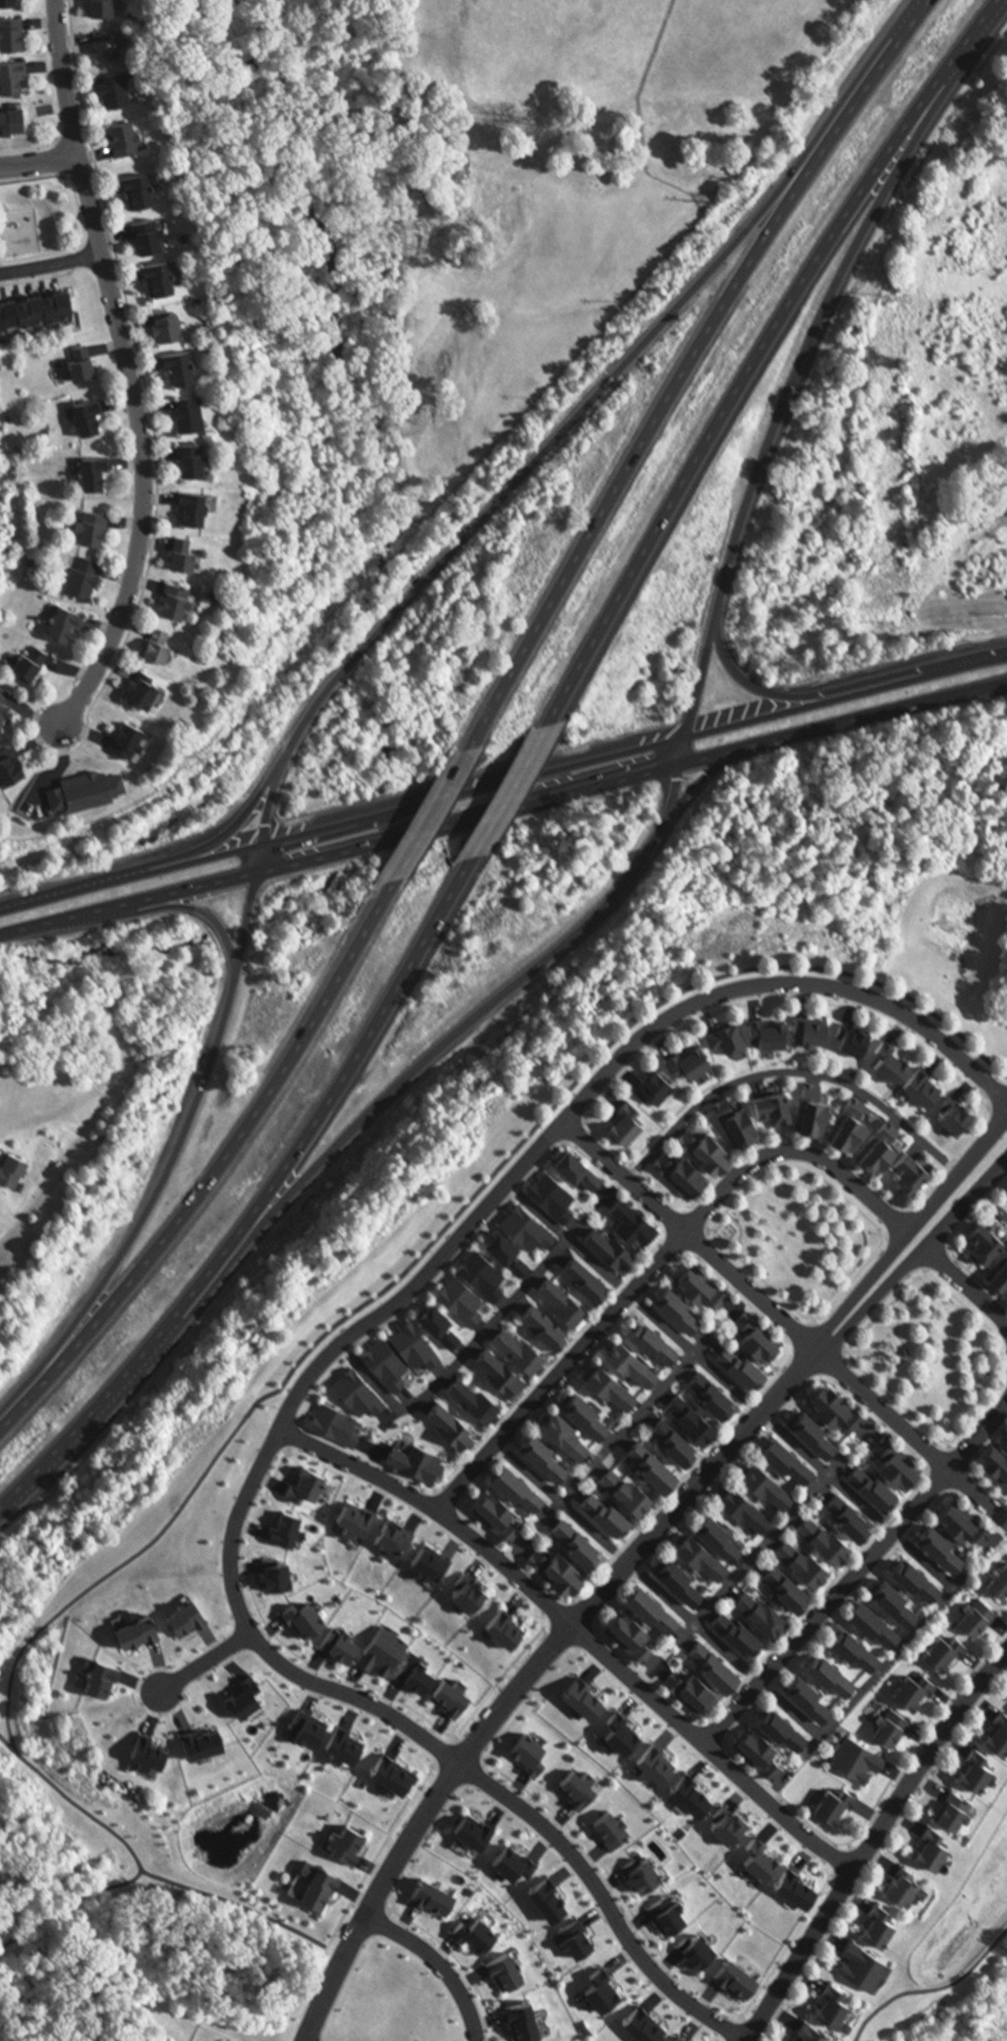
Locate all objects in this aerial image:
building: (14, 3)
building: (111, 8)
building: (17, 35)
building: (116, 46)
building: (18, 78)
building: (122, 91)
building: (16, 121)
building: (131, 140)
road: (39, 161)
building: (146, 192)
building: (155, 238)
road: (50, 264)
building: (166, 280)
building: (35, 305)
building: (175, 326)
road: (757, 351)
building: (88, 363)
road: (684, 363)
road: (126, 366)
building: (187, 368)
road: (778, 410)
building: (196, 416)
building: (96, 419)
building: (200, 462)
building: (103, 475)
building: (202, 509)
building: (99, 531)
building: (192, 557)
building: (88, 578)
building: (183, 602)
building: (71, 625)
building: (165, 648)
building: (37, 664)
road: (348, 666)
road: (765, 688)
building: (150, 693)
building: (6, 707)
building: (134, 742)
building: (15, 768)
road: (502, 782)
road: (701, 784)
road: (509, 791)
road: (503, 810)
road: (434, 812)
road: (238, 824)
road: (206, 913)
building: (810, 1024)
building: (769, 1027)
building: (729, 1031)
building: (824, 1033)
building: (851, 1033)
building: (865, 1041)
building: (690, 1055)
building: (888, 1059)
building: (701, 1065)
road: (418, 1066)
road: (790, 1071)
road: (1006, 1076)
road: (1006, 1077)
building: (656, 1079)
road: (598, 1081)
building: (922, 1083)
building: (774, 1101)
building: (811, 1106)
building: (953, 1112)
building: (736, 1117)
building: (628, 1118)
building: (846, 1119)
building: (860, 1127)
building: (707, 1144)
building: (878, 1146)
road: (218, 1166)
building: (578, 1166)
building: (681, 1167)
building: (910, 1167)
building: (17, 1172)
building: (552, 1193)
road: (261, 1202)
road: (996, 1202)
building: (632, 1220)
building: (528, 1224)
road: (741, 1230)
road: (909, 1231)
park: (800, 1236)
road: (571, 1238)
building: (984, 1238)
building: (610, 1246)
building: (507, 1248)
road: (914, 1263)
road: (656, 1264)
building: (482, 1271)
building: (998, 1271)
building: (586, 1276)
building: (701, 1281)
road: (969, 1284)
building: (461, 1297)
building: (561, 1297)
building: (677, 1303)
building: (437, 1320)
road: (813, 1321)
road: (786, 1322)
building: (546, 1325)
road: (890, 1325)
building: (757, 1333)
road: (830, 1336)
building: (653, 1337)
road: (901, 1339)
road: (314, 1342)
building: (413, 1343)
building: (520, 1347)
building: (903, 1347)
road: (873, 1350)
road: (696, 1355)
building: (632, 1357)
road: (459, 1358)
park: (929, 1358)
building: (385, 1361)
building: (742, 1363)
road: (972, 1364)
road: (893, 1369)
building: (499, 1371)
building: (610, 1382)
building: (357, 1390)
building: (711, 1391)
building: (472, 1398)
building: (835, 1404)
building: (585, 1411)
building: (691, 1415)
building: (333, 1422)
building: (449, 1422)
road: (630, 1429)
building: (812, 1429)
building: (564, 1430)
building: (1006, 1430)
road: (939, 1438)
building: (675, 1439)
building: (543, 1452)
building: (785, 1456)
building: (997, 1456)
building: (415, 1459)
building: (894, 1459)
building: (653, 1462)
road: (827, 1474)
building: (766, 1480)
building: (304, 1482)
building: (516, 1484)
building: (871, 1485)
building: (627, 1488)
road: (565, 1503)
building: (744, 1504)
building: (494, 1510)
building: (606, 1511)
building: (355, 1516)
building: (848, 1516)
building: (961, 1519)
building: (286, 1523)
building: (393, 1532)
building: (717, 1534)
building: (824, 1537)
road: (469, 1539)
building: (577, 1539)
building: (942, 1545)
road: (760, 1547)
building: (701, 1552)
building: (430, 1558)
building: (801, 1560)
road: (922, 1561)
building: (557, 1564)
building: (275, 1569)
building: (678, 1576)
building: (913, 1576)
road: (855, 1577)
building: (998, 1579)
building: (788, 1585)
building: (467, 1589)
building: (895, 1598)
building: (650, 1603)
building: (761, 1610)
building: (186, 1613)
building: (303, 1613)
building: (974, 1613)
building: (872, 1618)
road: (696, 1623)
building: (138, 1625)
building: (504, 1625)
building: (629, 1628)
building: (736, 1631)
road: (915, 1631)
building: (338, 1641)
building: (853, 1644)
building: (380, 1650)
building: (944, 1650)
building: (714, 1664)
road: (205, 1666)
building: (105, 1668)
building: (828, 1668)
building: (412, 1672)
road: (529, 1674)
building: (912, 1688)
building: (691, 1689)
building: (245, 1693)
building: (585, 1694)
building: (809, 1694)
building: (448, 1696)
road: (792, 1712)
building: (307, 1723)
building: (780, 1723)
building: (889, 1725)
building: (618, 1731)
building: (998, 1732)
building: (202, 1735)
building: (343, 1742)
road: (7, 1744)
building: (148, 1747)
road: (434, 1748)
building: (756, 1750)
building: (530, 1751)
building: (856, 1759)
building: (654, 1761)
building: (978, 1766)
building: (390, 1773)
road: (743, 1782)
building: (578, 1786)
building: (690, 1791)
building: (835, 1802)
building: (951, 1807)
building: (727, 1822)
building: (610, 1826)
building: (473, 1829)
building: (345, 1841)
road: (875, 1842)
building: (930, 1844)
building: (760, 1855)
building: (512, 1860)
building: (641, 1871)
building: (900, 1881)
building: (313, 1882)
building: (795, 1884)
building: (430, 1894)
building: (548, 1895)
road: (242, 1906)
building: (666, 1912)
building: (878, 1923)
building: (473, 1931)
building: (574, 1936)
building: (695, 1948)
road: (979, 1959)
road: (439, 1963)
building: (862, 1964)
building: (504, 1969)
building: (734, 1976)
building: (599, 1988)
road: (922, 1990)
building: (831, 2001)
road: (873, 2015)
building: (521, 2020)
building: (644, 2023)
building: (810, 2032)
building: (678, 2039)
road: (749, 2040)

